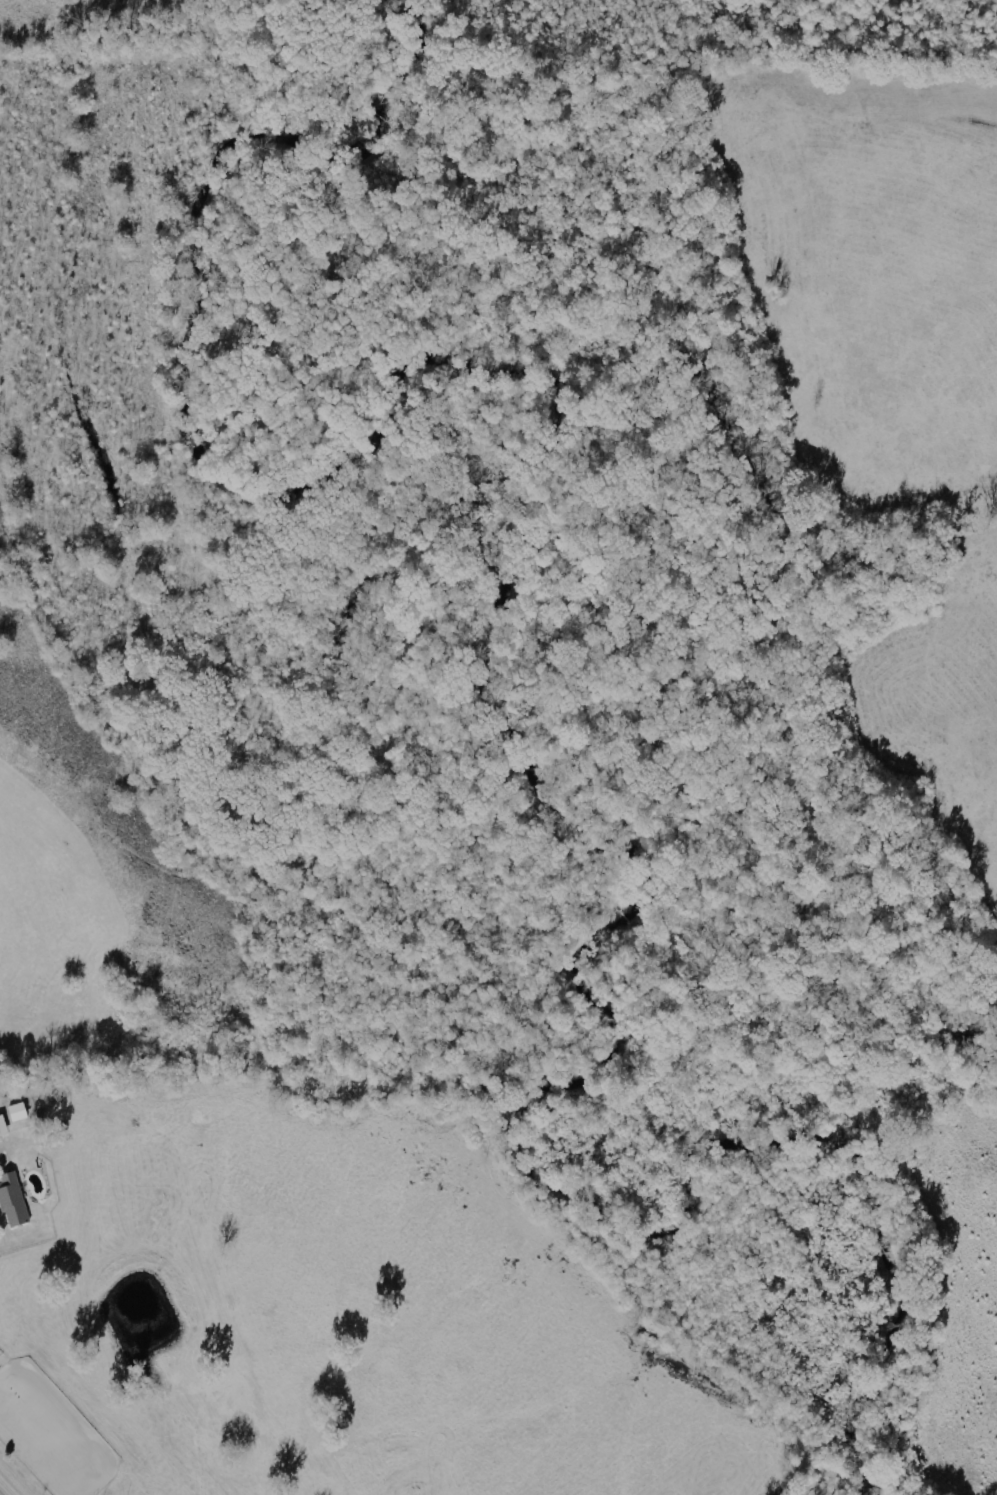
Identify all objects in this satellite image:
building: (17, 1114)
building: (2, 1126)
building: (12, 1201)
road: (0, 1494)

